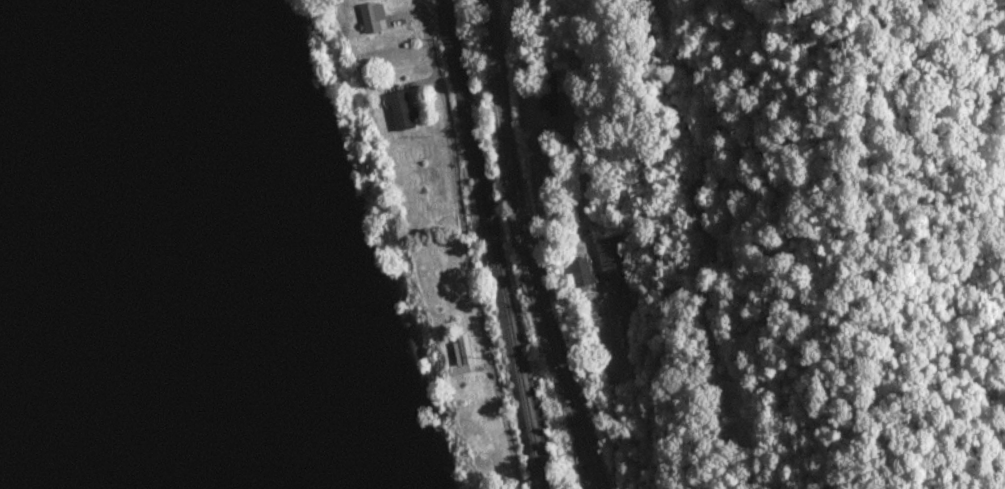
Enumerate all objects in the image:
building: (402, 110)
river: (143, 238)
railway: (495, 243)
road: (530, 248)
building: (580, 272)
building: (608, 275)

